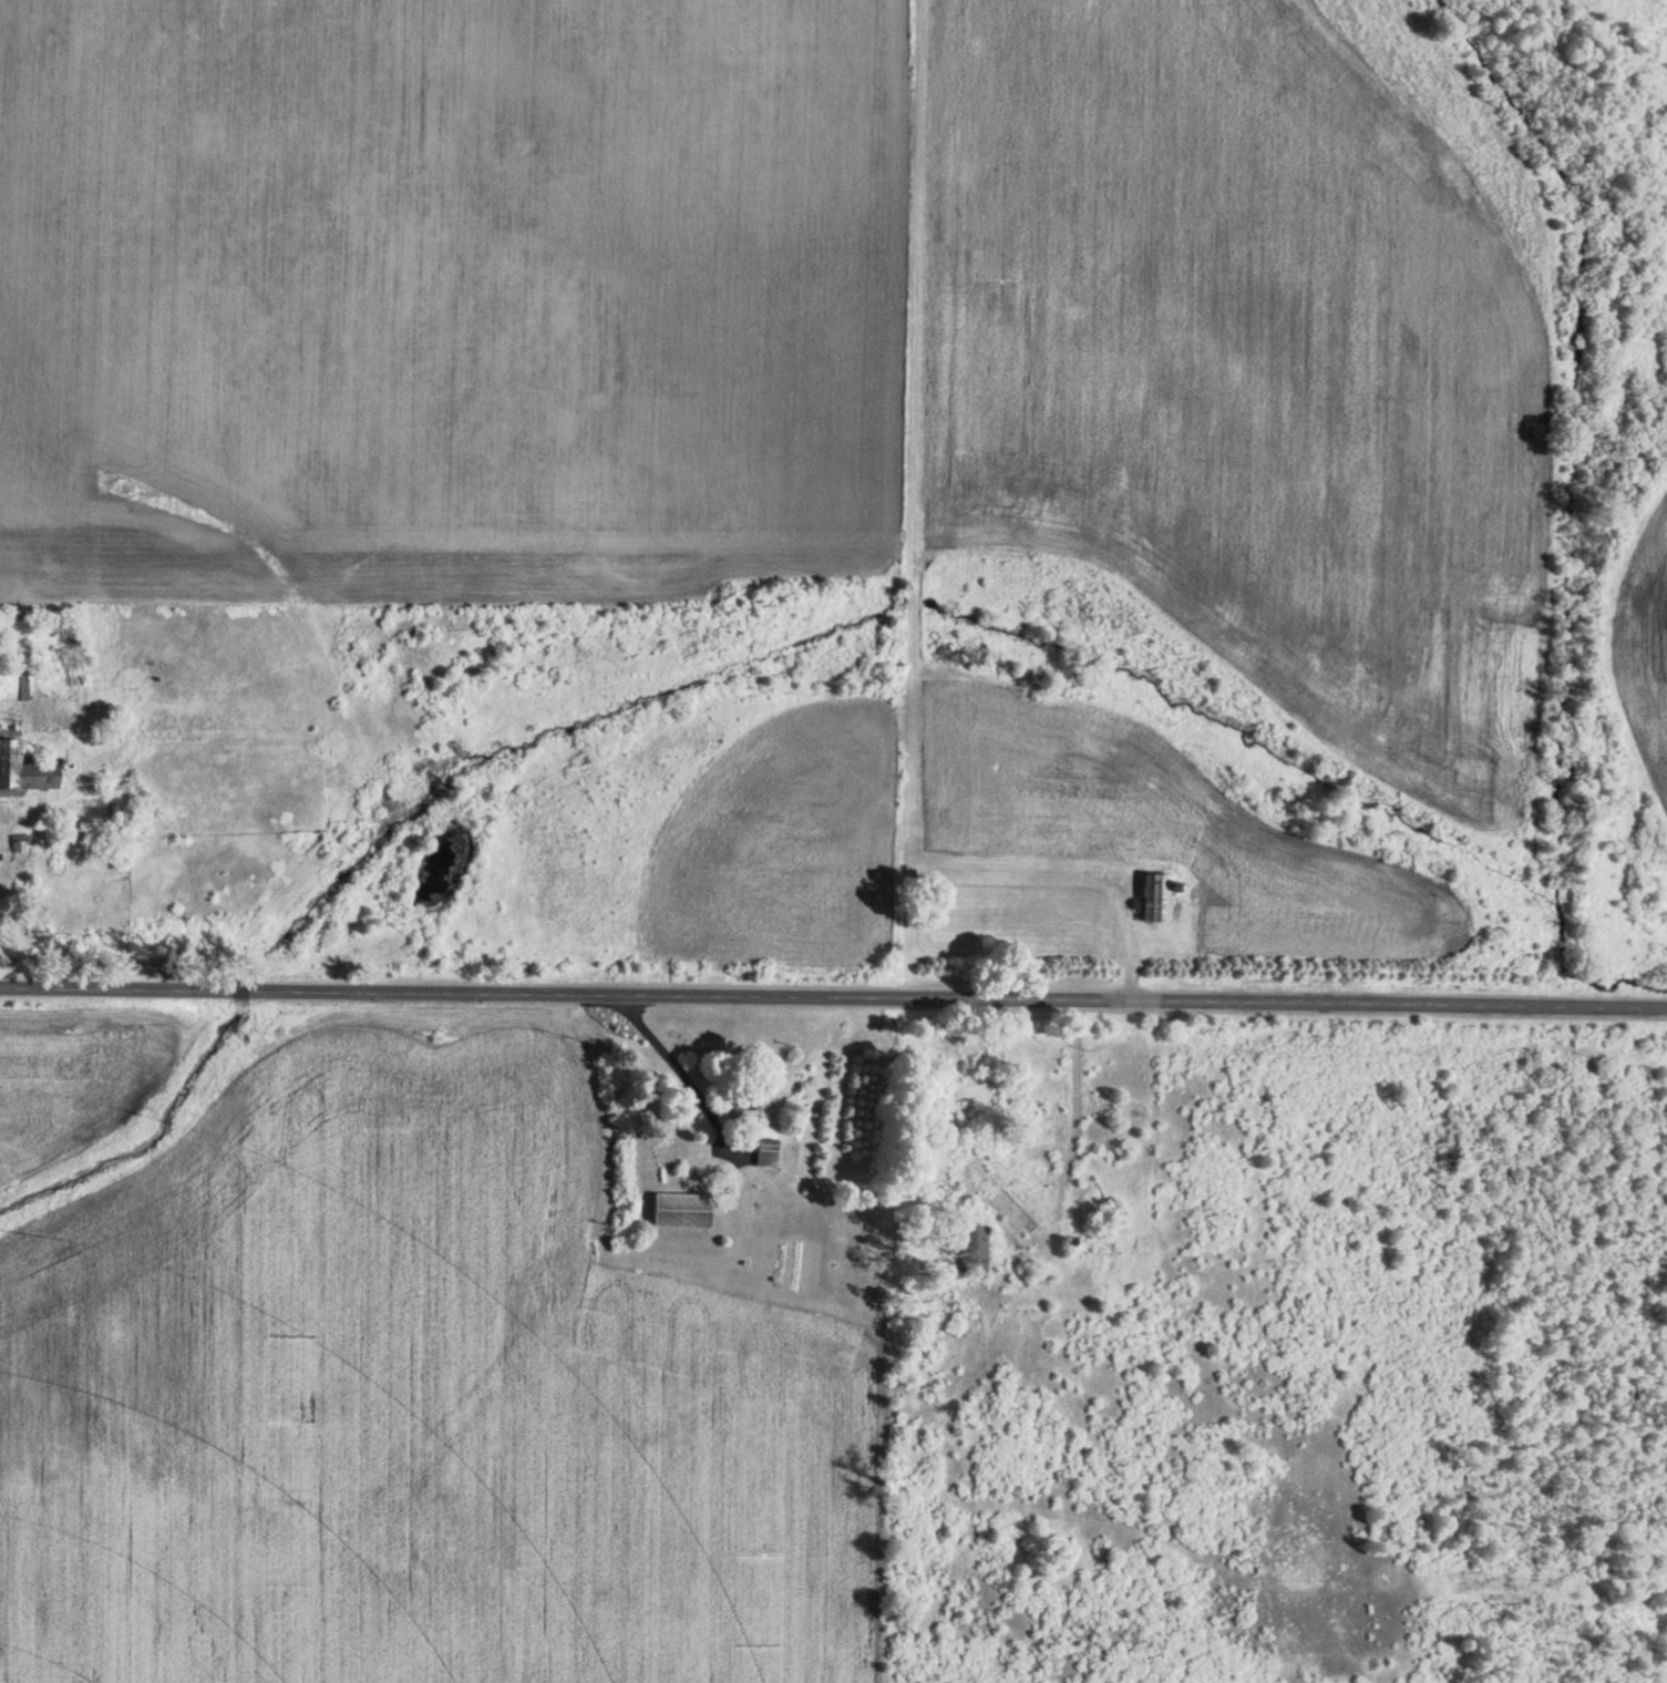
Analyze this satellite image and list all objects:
building: (21, 683)
building: (20, 772)
building: (1151, 901)
road: (833, 993)
building: (742, 1112)
building: (678, 1212)
building: (1008, 1214)
building: (968, 1244)
crop: (412, 1403)

